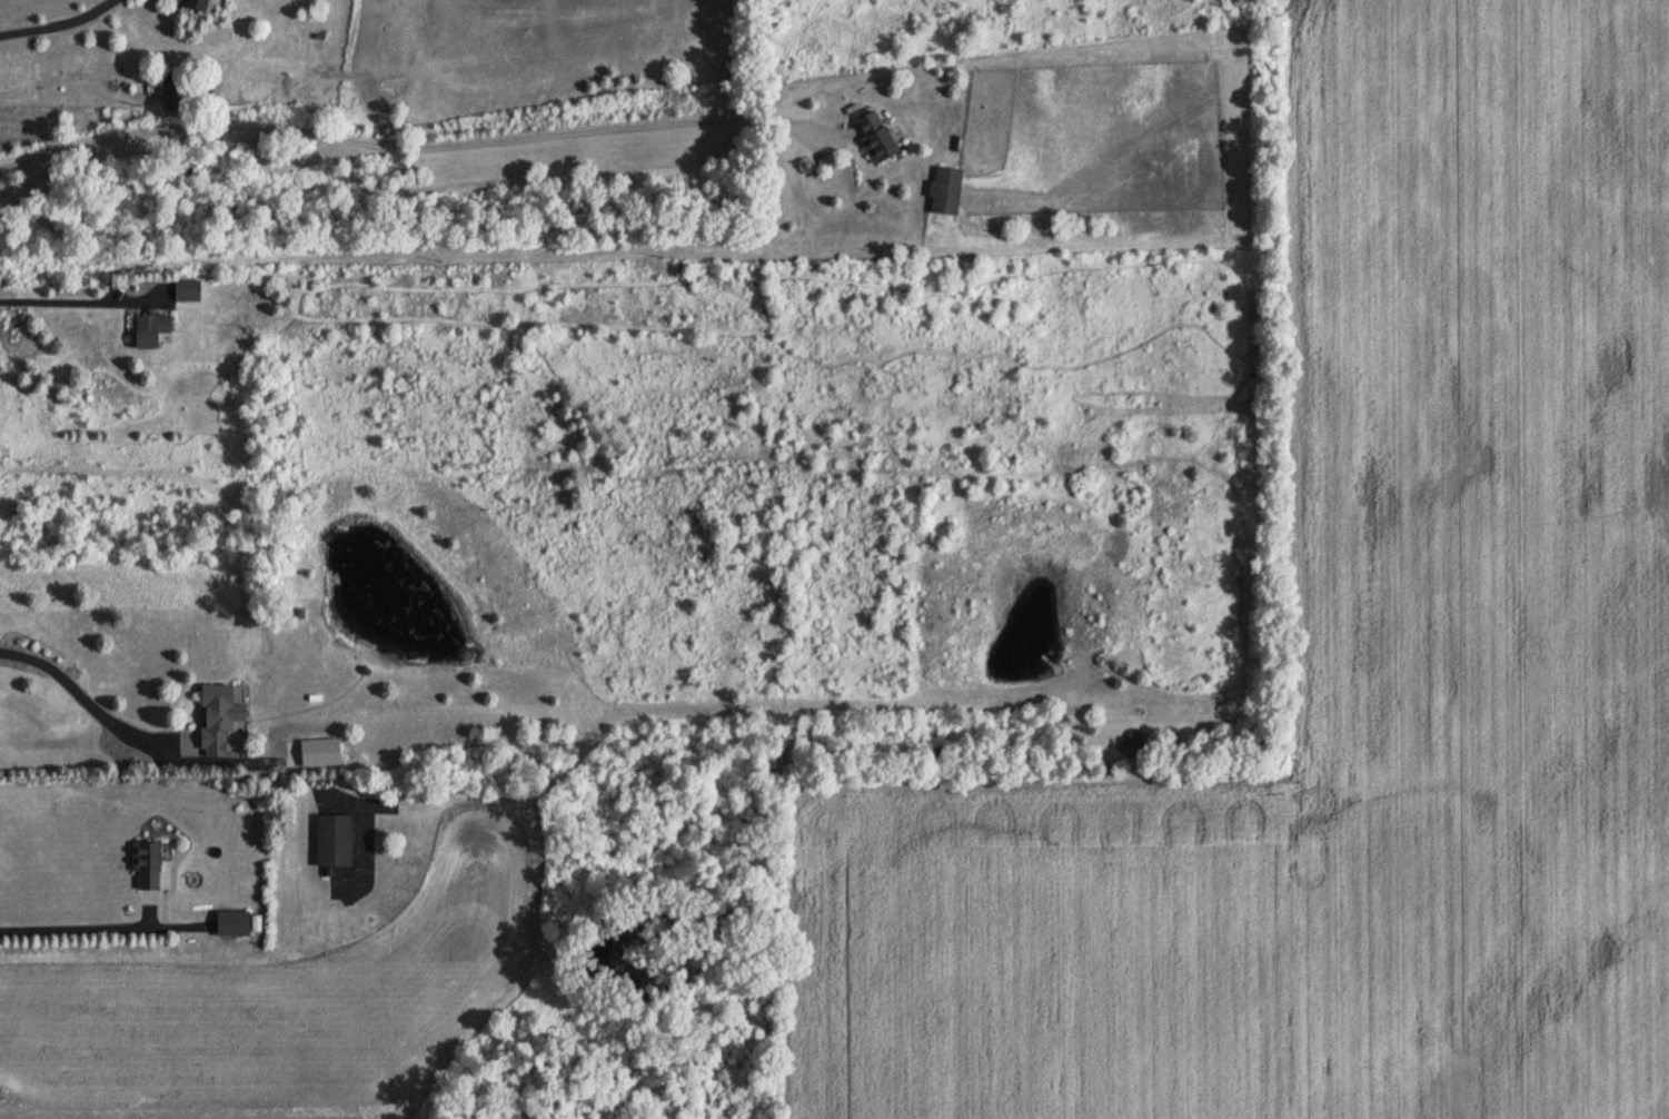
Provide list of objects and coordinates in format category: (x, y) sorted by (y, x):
building: (205, 4)
road: (50, 14)
building: (187, 93)
road: (407, 137)
building: (872, 137)
building: (942, 190)
building: (190, 290)
road: (64, 291)
building: (155, 330)
road: (81, 687)
building: (221, 719)
building: (1132, 744)
building: (330, 841)
building: (149, 865)
road: (73, 922)
building: (232, 922)

